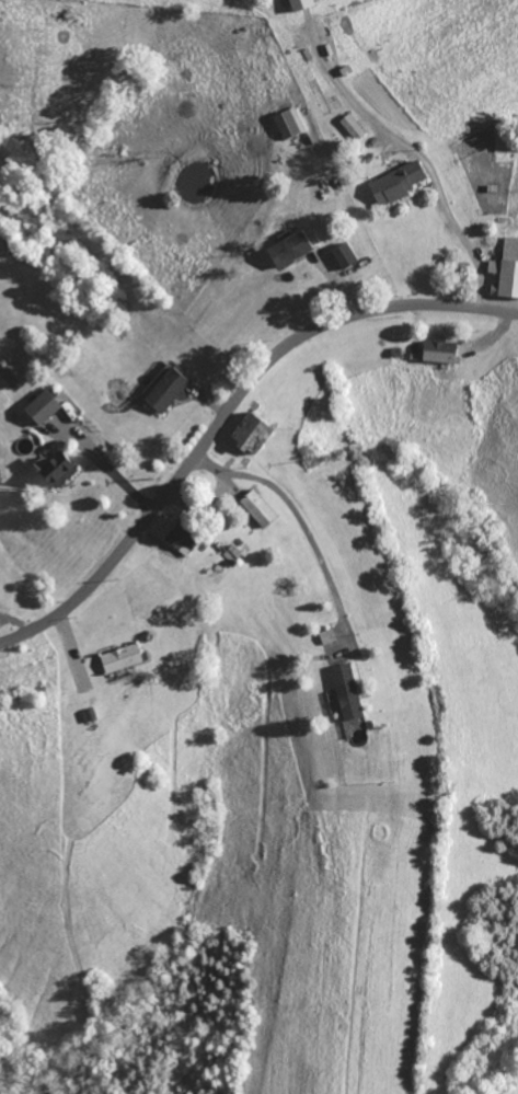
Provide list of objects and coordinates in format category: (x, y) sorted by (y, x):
building: (296, 4)
building: (286, 124)
building: (348, 127)
building: (393, 183)
road: (449, 197)
building: (286, 249)
building: (505, 270)
building: (435, 353)
building: (161, 390)
building: (37, 406)
road: (228, 412)
building: (245, 433)
road: (106, 467)
building: (53, 469)
building: (254, 508)
building: (176, 541)
building: (324, 636)
building: (115, 658)
building: (343, 691)

